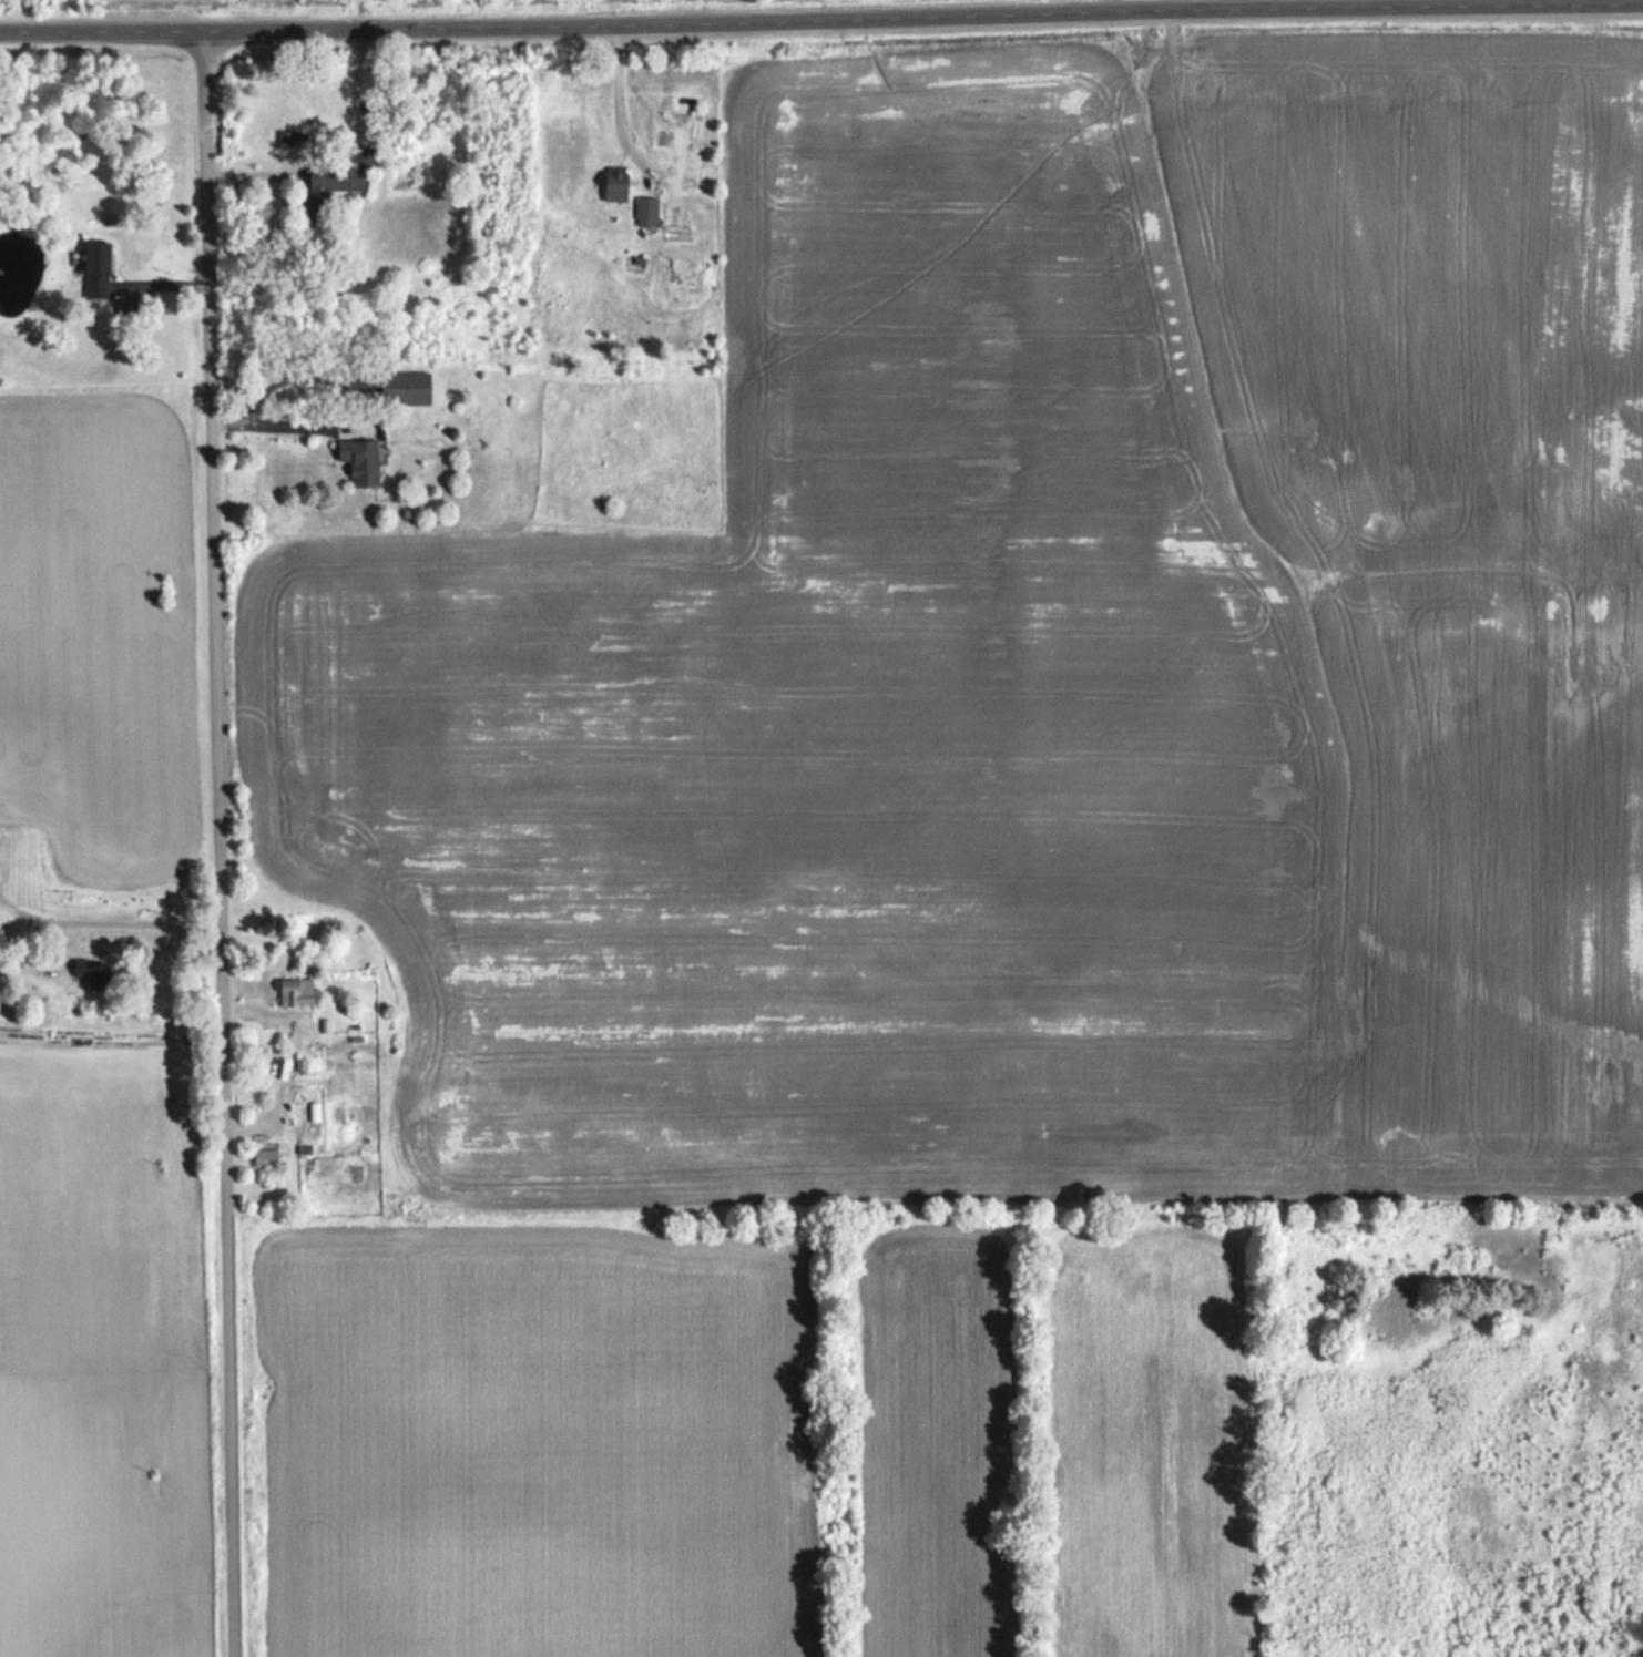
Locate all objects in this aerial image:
road: (1202, 4)
road: (820, 13)
road: (615, 99)
building: (337, 181)
building: (409, 388)
road: (269, 422)
building: (364, 460)
road: (216, 843)
road: (132, 916)
building: (298, 992)

